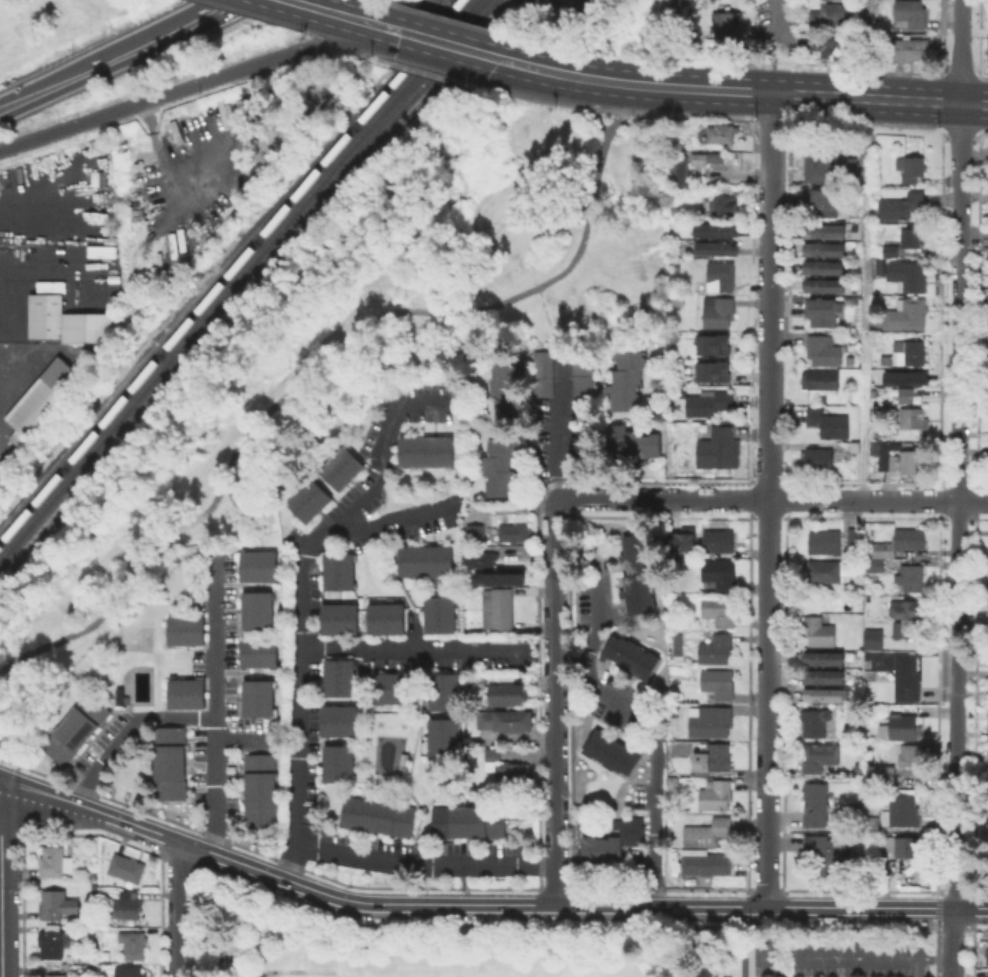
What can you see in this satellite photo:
road: (384, 0)
road: (224, 4)
road: (306, 6)
road: (356, 7)
road: (675, 11)
building: (911, 12)
building: (832, 13)
road: (251, 14)
road: (772, 17)
road: (452, 19)
road: (18, 23)
building: (727, 23)
road: (306, 29)
road: (350, 31)
road: (448, 32)
road: (774, 43)
road: (315, 45)
building: (833, 45)
building: (986, 47)
building: (912, 49)
road: (961, 51)
road: (345, 52)
road: (437, 54)
road: (108, 59)
road: (552, 59)
railway: (396, 61)
road: (424, 71)
road: (772, 80)
road: (541, 83)
road: (726, 89)
road: (174, 91)
road: (590, 94)
road: (534, 98)
road: (925, 100)
road: (160, 104)
road: (607, 110)
road: (691, 114)
road: (769, 118)
road: (863, 121)
road: (598, 125)
road: (959, 129)
road: (980, 129)
building: (720, 132)
road: (770, 140)
building: (713, 156)
building: (696, 158)
building: (830, 167)
building: (913, 168)
building: (673, 169)
building: (726, 201)
building: (823, 202)
building: (901, 205)
road: (769, 208)
building: (718, 227)
building: (825, 227)
building: (905, 241)
road: (769, 243)
building: (824, 244)
building: (718, 246)
building: (825, 264)
railway: (229, 269)
road: (53, 270)
building: (908, 274)
building: (721, 275)
railway: (235, 277)
building: (825, 282)
railway: (244, 284)
road: (769, 295)
road: (864, 298)
building: (718, 311)
building: (825, 311)
building: (904, 313)
road: (547, 317)
building: (65, 320)
railway: (161, 333)
park: (354, 333)
building: (716, 342)
building: (823, 350)
building: (912, 350)
road: (769, 356)
building: (850, 359)
building: (714, 369)
road: (317, 370)
building: (541, 372)
road: (9, 374)
building: (904, 376)
building: (581, 378)
building: (821, 379)
building: (624, 380)
building: (505, 386)
building: (892, 390)
building: (906, 394)
building: (43, 395)
building: (708, 402)
road: (769, 402)
building: (912, 418)
building: (829, 422)
road: (558, 423)
building: (630, 441)
building: (875, 446)
building: (717, 448)
building: (423, 450)
building: (910, 454)
building: (886, 455)
building: (819, 458)
building: (894, 459)
road: (769, 462)
building: (501, 465)
building: (340, 466)
building: (307, 498)
road: (773, 500)
road: (387, 520)
building: (514, 532)
building: (476, 533)
building: (856, 535)
building: (682, 537)
building: (719, 540)
road: (957, 540)
building: (825, 541)
building: (897, 542)
building: (480, 558)
building: (423, 559)
building: (256, 564)
building: (875, 564)
building: (337, 569)
building: (826, 570)
building: (719, 572)
building: (640, 576)
building: (912, 576)
building: (987, 582)
road: (298, 597)
building: (255, 608)
building: (908, 608)
building: (719, 610)
building: (501, 611)
building: (438, 612)
building: (337, 616)
building: (383, 616)
building: (987, 618)
building: (183, 628)
building: (894, 629)
building: (819, 631)
building: (871, 637)
building: (716, 648)
road: (411, 649)
building: (257, 650)
building: (632, 658)
building: (827, 659)
building: (337, 676)
building: (904, 677)
building: (827, 678)
building: (479, 680)
building: (718, 683)
building: (387, 686)
building: (441, 690)
building: (184, 692)
building: (507, 694)
building: (256, 695)
building: (827, 696)
road: (555, 701)
road: (215, 703)
road: (768, 703)
building: (880, 711)
building: (337, 719)
building: (506, 719)
building: (710, 720)
building: (815, 721)
building: (987, 722)
building: (903, 726)
building: (74, 727)
road: (130, 732)
road: (654, 732)
building: (441, 735)
road: (244, 741)
building: (613, 752)
building: (911, 754)
building: (820, 756)
building: (714, 760)
building: (336, 761)
building: (167, 762)
building: (857, 766)
building: (507, 768)
building: (894, 772)
building: (878, 774)
building: (674, 781)
road: (4, 784)
building: (258, 789)
building: (716, 796)
building: (816, 804)
building: (901, 810)
building: (375, 814)
building: (466, 820)
building: (871, 823)
building: (985, 830)
building: (707, 832)
building: (611, 844)
building: (910, 845)
building: (828, 853)
building: (55, 861)
building: (716, 863)
road: (424, 865)
building: (128, 869)
building: (885, 873)
road: (1, 879)
road: (465, 884)
building: (131, 903)
building: (57, 904)
road: (483, 904)
road: (177, 909)
road: (239, 916)
building: (54, 941)
road: (744, 942)
building: (134, 944)
park: (422, 945)
road: (831, 952)
building: (987, 955)
park: (479, 968)
building: (55, 971)
building: (129, 971)
park: (349, 973)
building: (987, 973)

